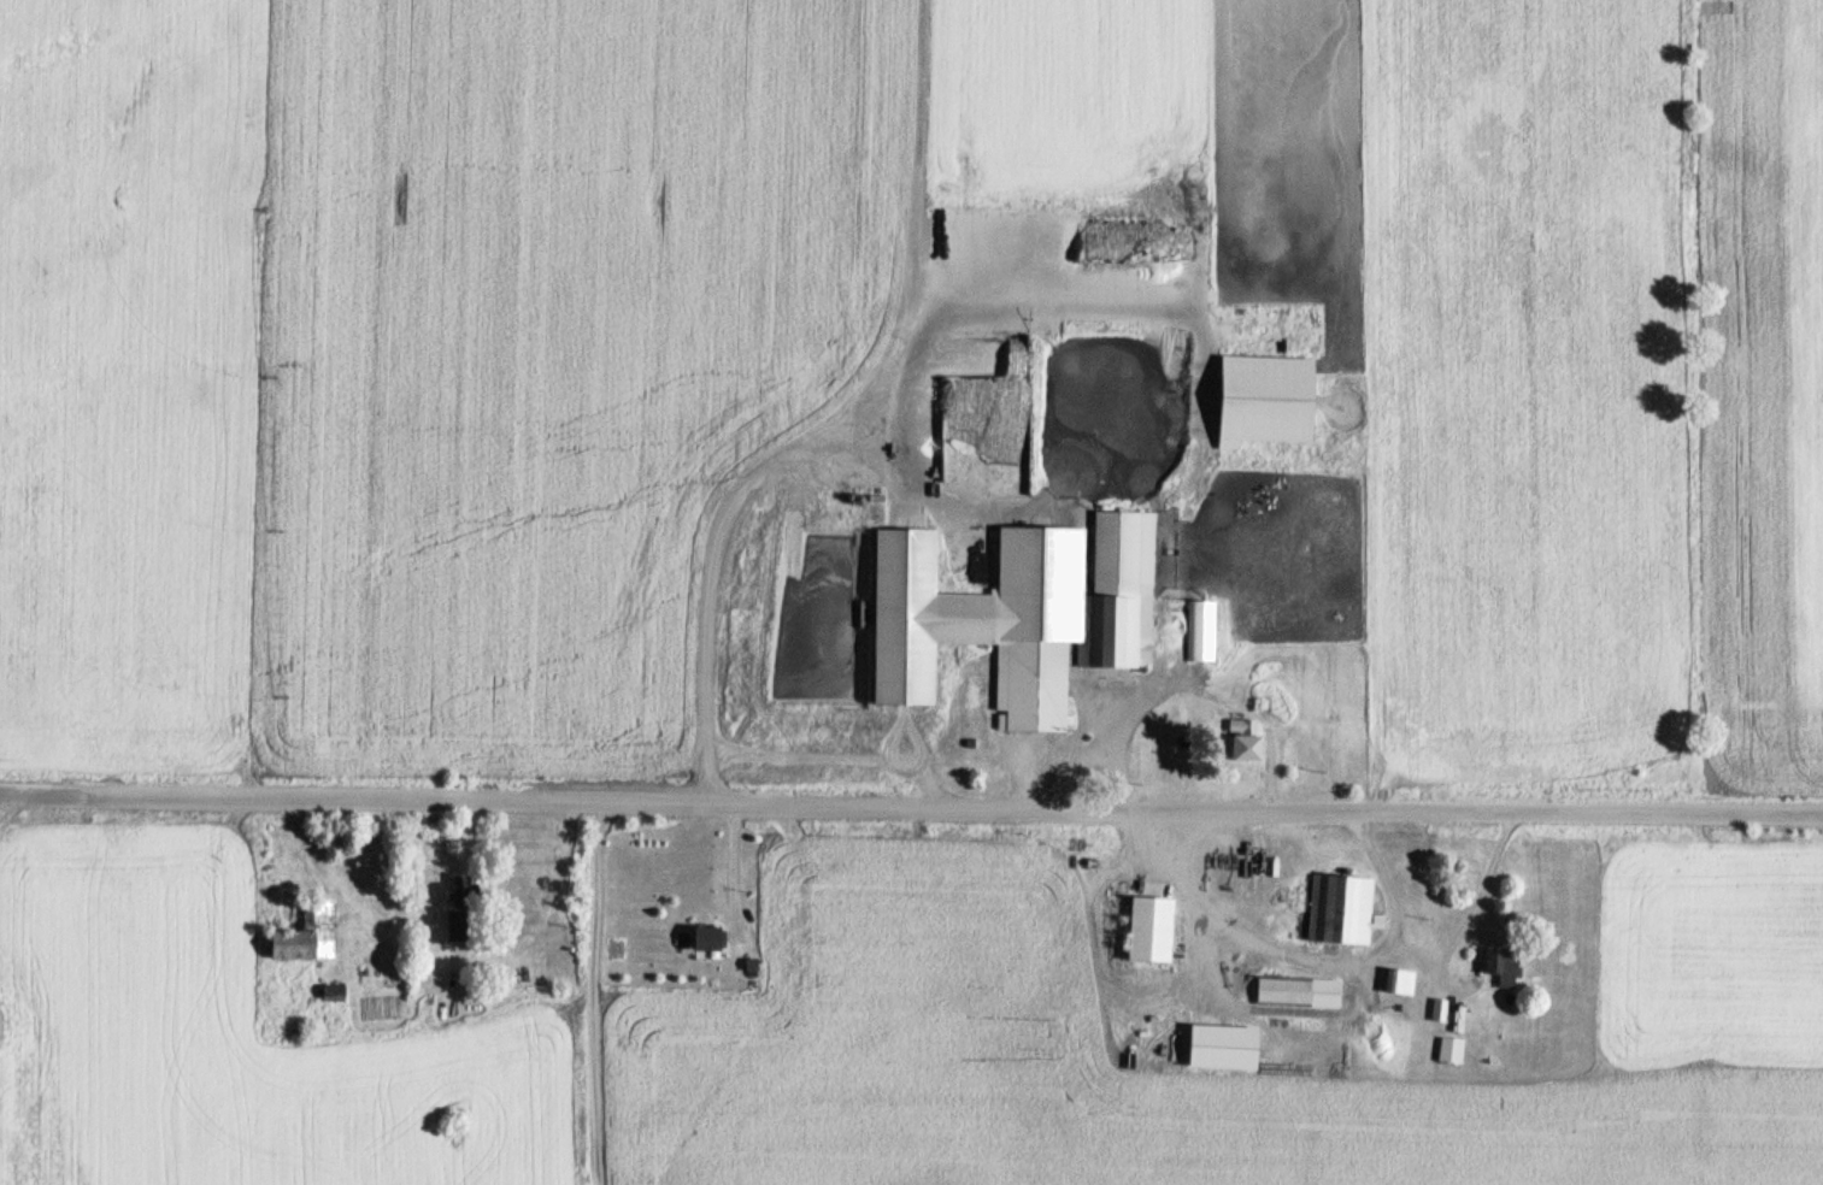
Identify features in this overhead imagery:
building: (1263, 399)
building: (1012, 620)
building: (1200, 627)
building: (1243, 738)
road: (911, 807)
building: (458, 890)
building: (1341, 909)
building: (460, 924)
building: (1148, 930)
building: (306, 933)
building: (704, 937)
building: (1501, 966)
building: (1398, 980)
building: (1282, 989)
building: (331, 991)
building: (1437, 1008)
building: (1221, 1045)
building: (1449, 1049)

